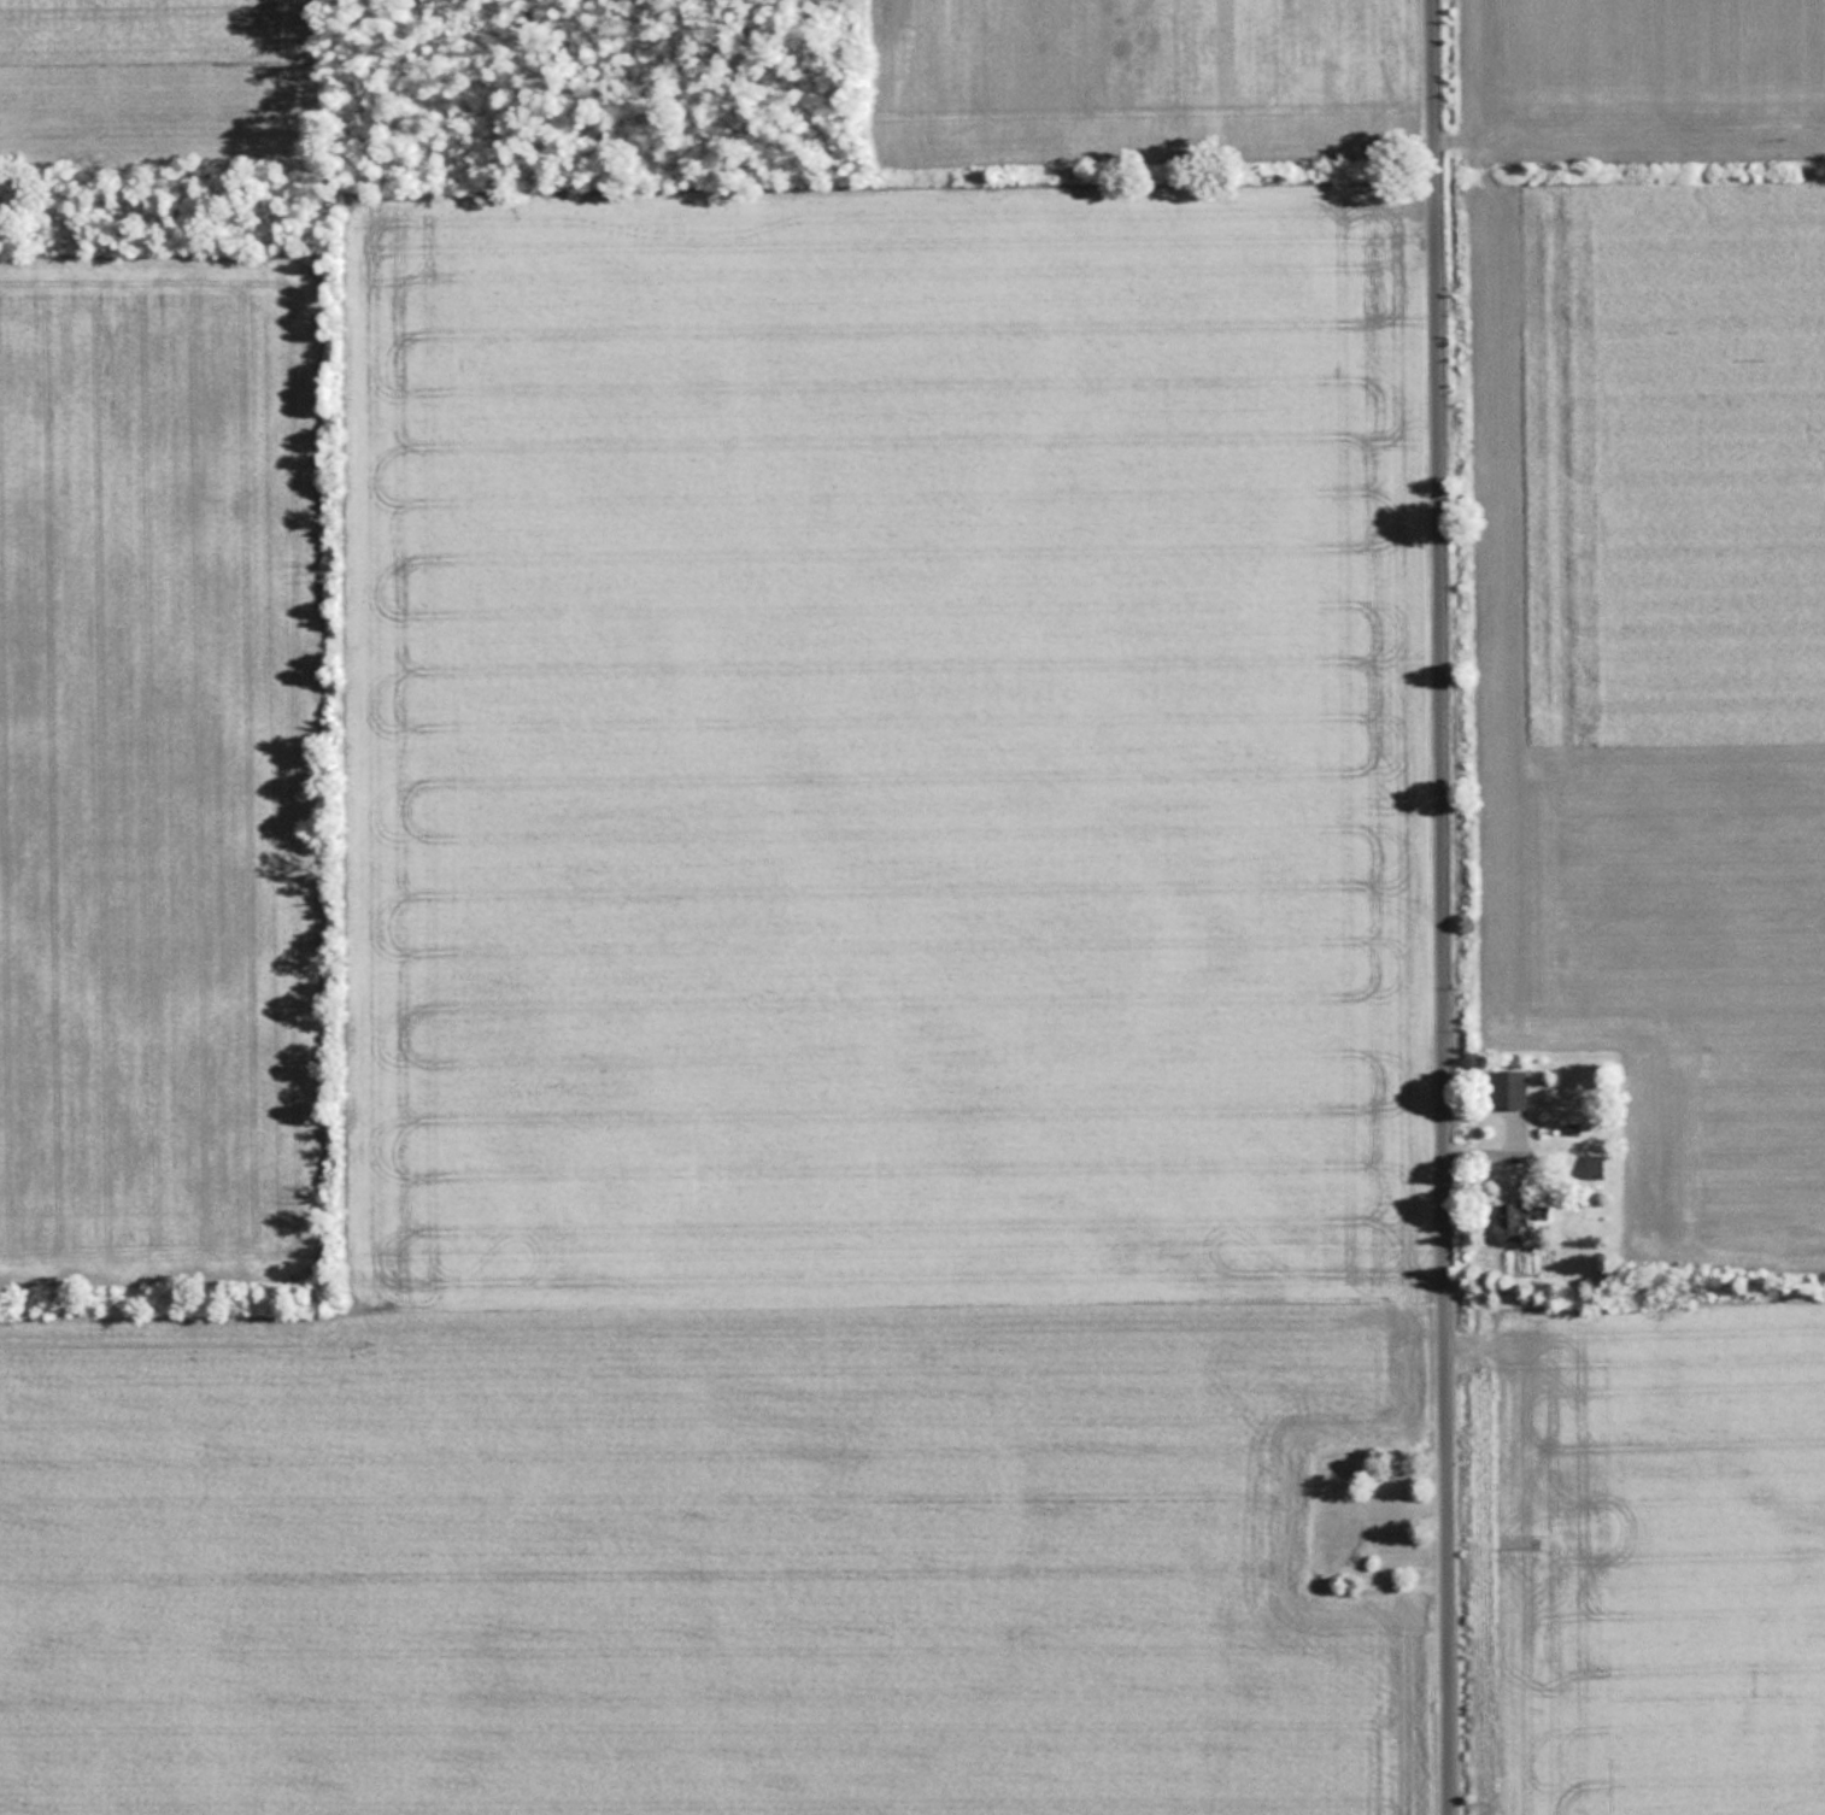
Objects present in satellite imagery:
road: (1448, 906)
building: (1507, 1088)
building: (1592, 1165)
building: (1510, 1222)

